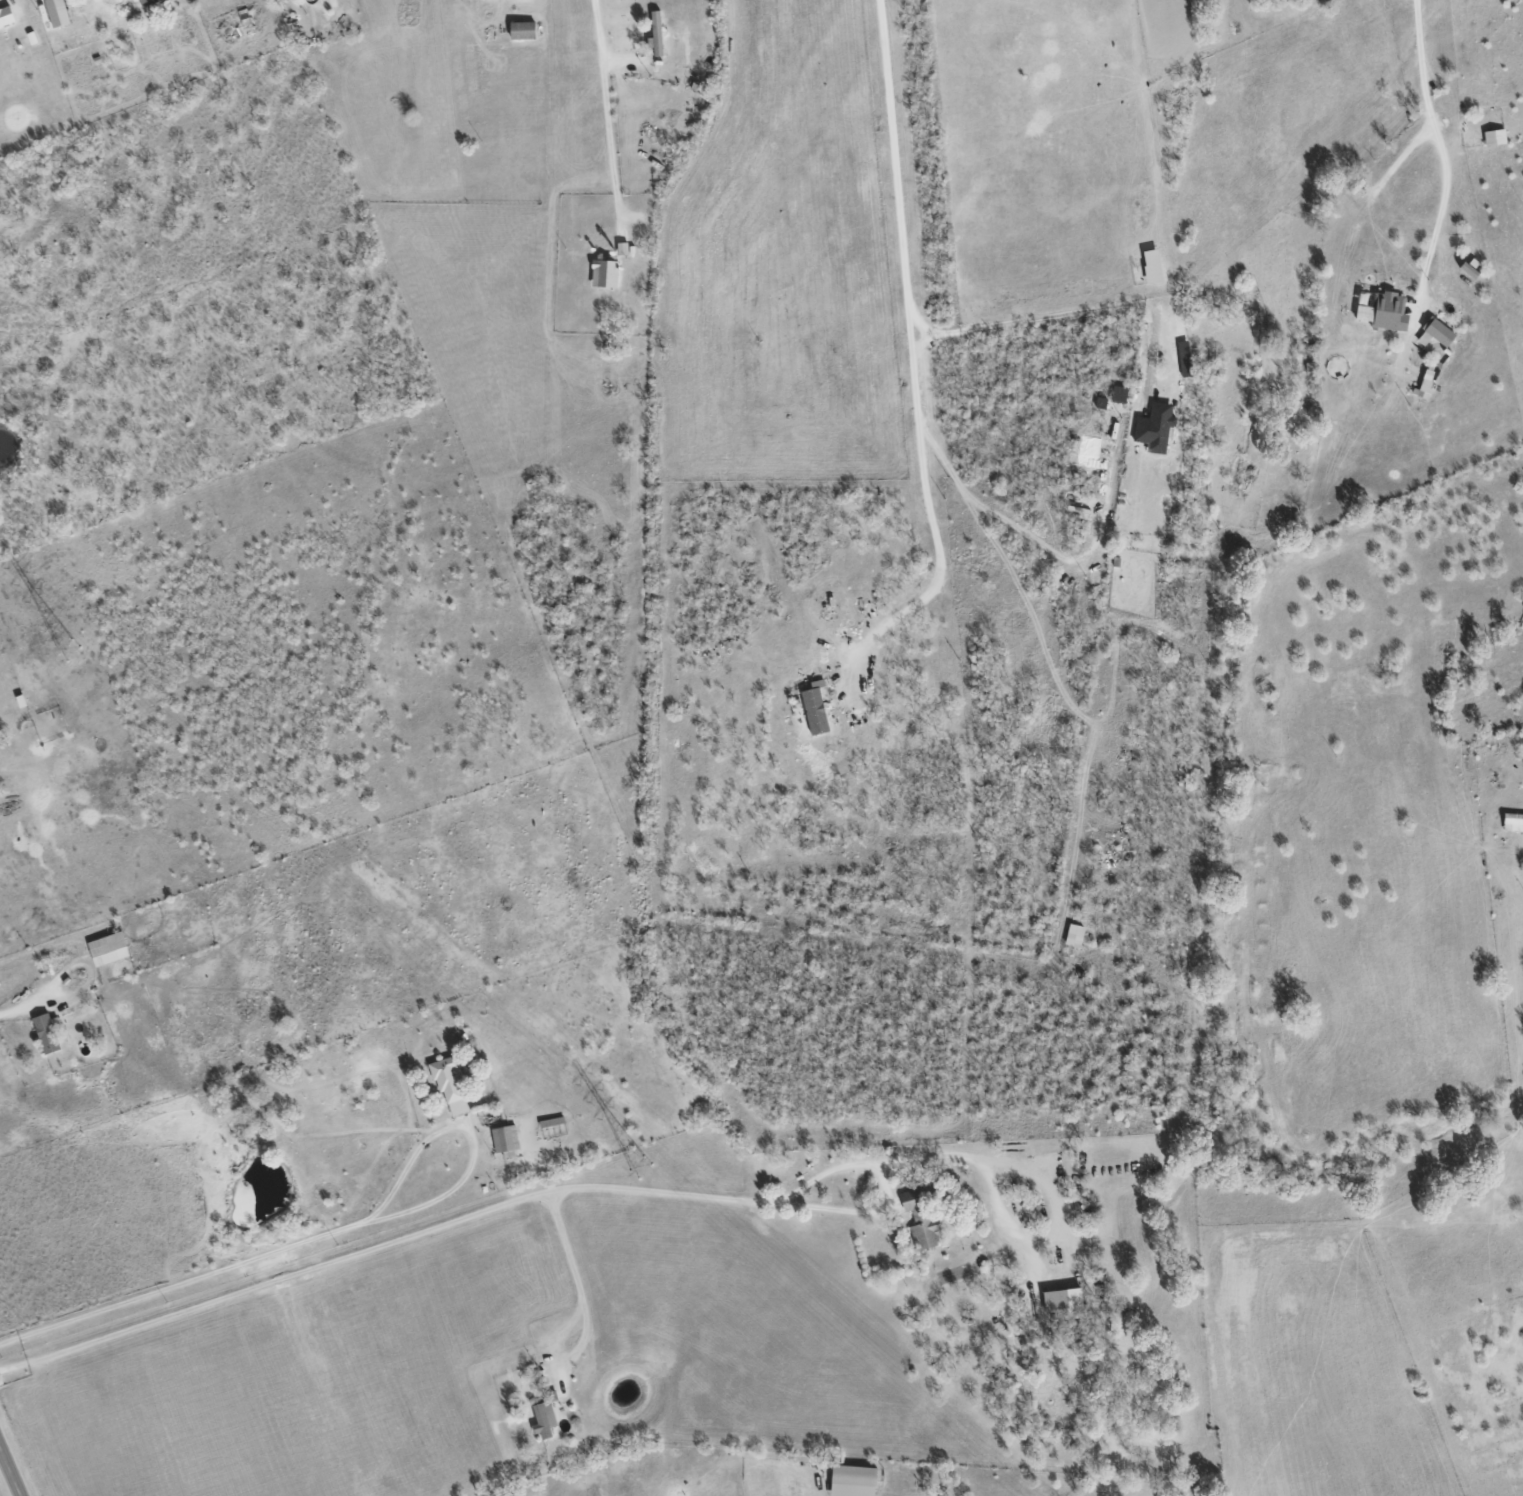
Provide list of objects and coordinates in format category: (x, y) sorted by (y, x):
building: (149, 2)
building: (59, 13)
building: (8, 17)
building: (525, 31)
building: (658, 33)
road: (605, 113)
road: (1402, 155)
road: (1443, 157)
building: (1470, 271)
building: (606, 273)
building: (1156, 273)
building: (1387, 312)
road: (1065, 319)
building: (1438, 333)
road: (912, 352)
building: (1426, 388)
building: (1157, 428)
power tower: (46, 630)
building: (817, 710)
building: (1076, 936)
building: (111, 949)
road: (38, 1004)
building: (49, 1034)
building: (452, 1086)
building: (506, 1141)
power tower: (640, 1168)
road: (983, 1170)
road: (885, 1185)
road: (555, 1198)
building: (923, 1217)
road: (382, 1243)
road: (243, 1261)
building: (1066, 1304)
road: (583, 1312)
building: (545, 1420)
road: (10, 1471)
building: (856, 1480)

